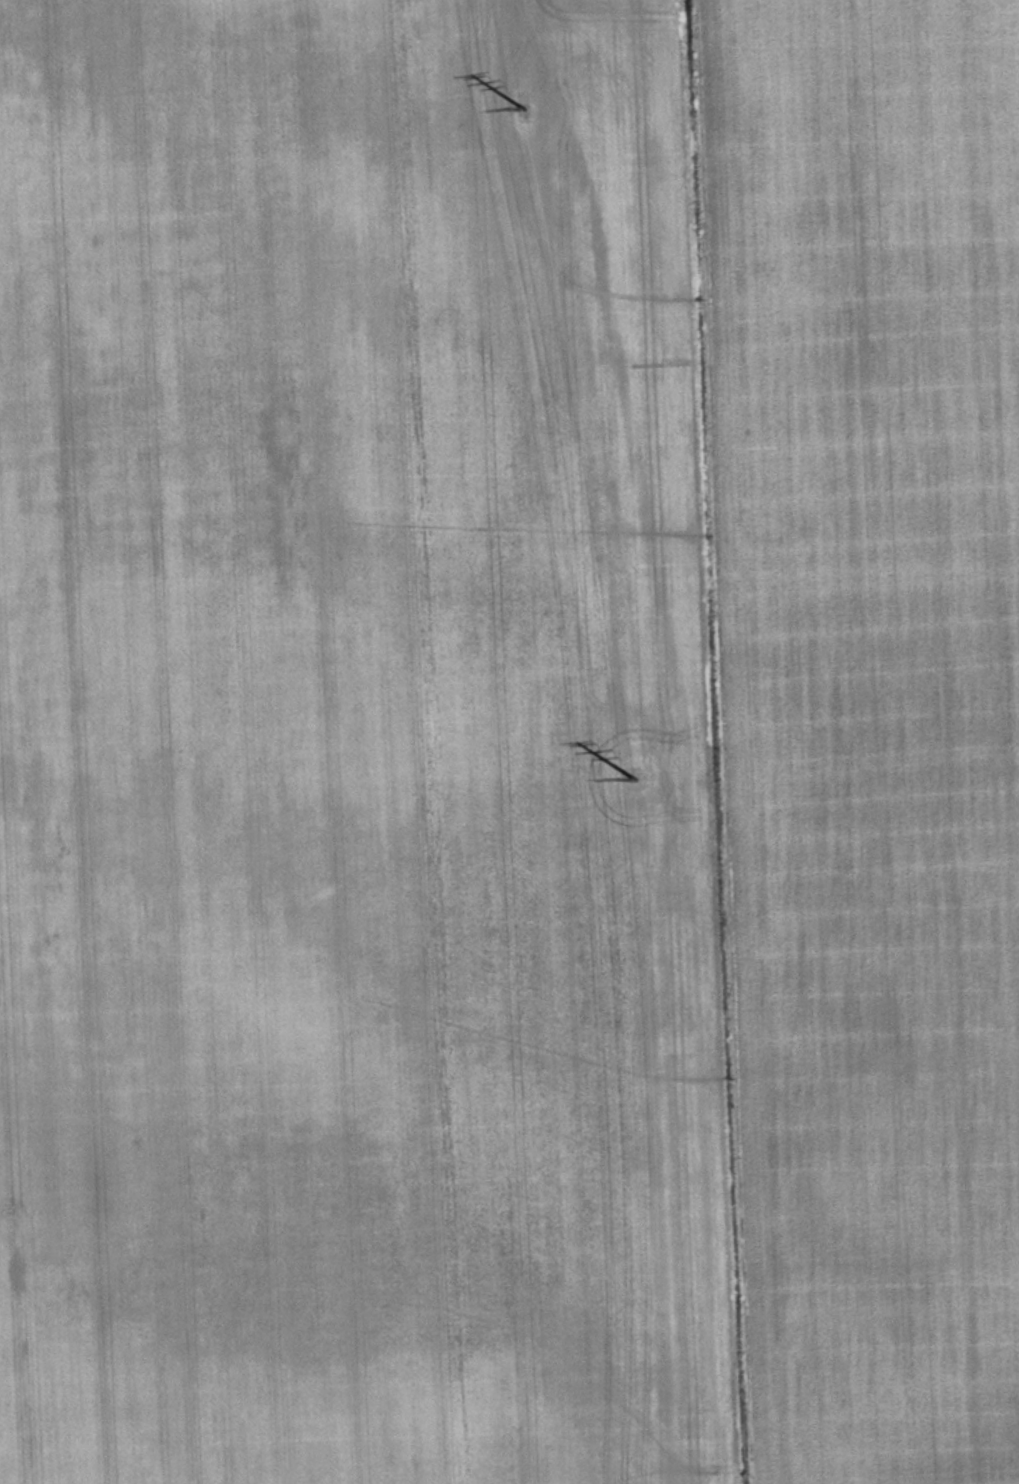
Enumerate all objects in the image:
power tower: (516, 92)
power tower: (630, 761)

